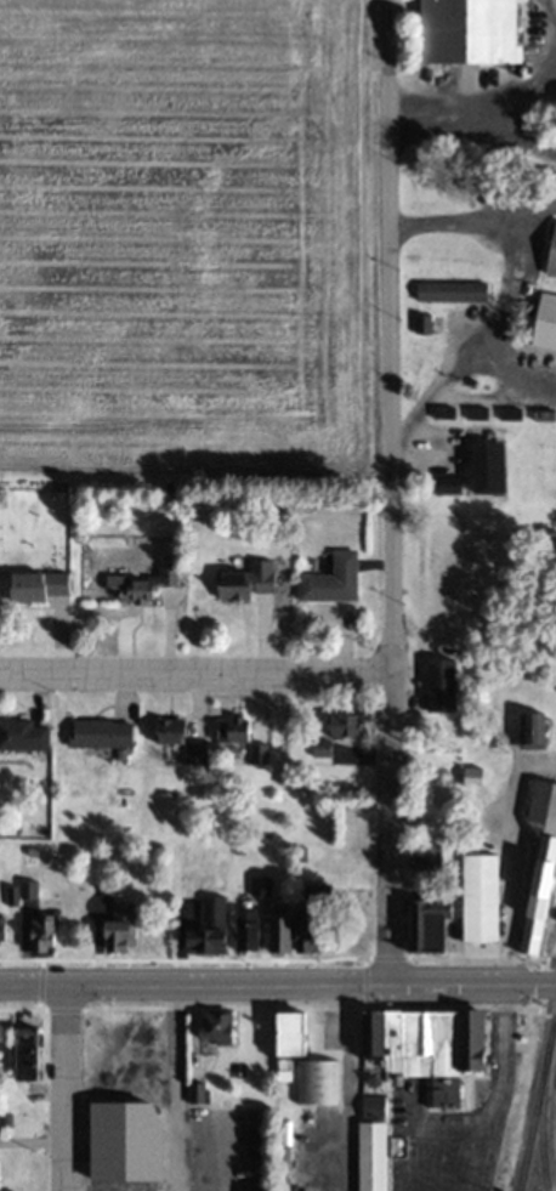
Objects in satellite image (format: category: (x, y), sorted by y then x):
building: (469, 32)
road: (486, 107)
crop: (182, 233)
building: (551, 255)
building: (450, 291)
road: (503, 294)
building: (545, 323)
building: (488, 469)
building: (447, 487)
road: (391, 489)
building: (330, 580)
building: (246, 582)
building: (142, 584)
building: (38, 585)
road: (197, 670)
building: (441, 685)
building: (344, 726)
building: (531, 728)
building: (232, 731)
building: (102, 733)
building: (23, 735)
building: (180, 741)
building: (320, 752)
building: (257, 755)
building: (471, 777)
road: (510, 852)
building: (429, 858)
building: (540, 864)
building: (28, 889)
building: (478, 897)
building: (426, 926)
building: (208, 928)
building: (119, 929)
building: (1, 930)
building: (248, 930)
building: (41, 935)
building: (295, 936)
road: (277, 980)
building: (216, 1027)
building: (290, 1032)
building: (478, 1038)
building: (421, 1049)
building: (27, 1054)
building: (316, 1082)
road: (61, 1085)
road: (347, 1085)
road: (176, 1087)
railway: (538, 1104)
building: (245, 1134)
road: (30, 1140)
railway: (539, 1144)
building: (370, 1155)

